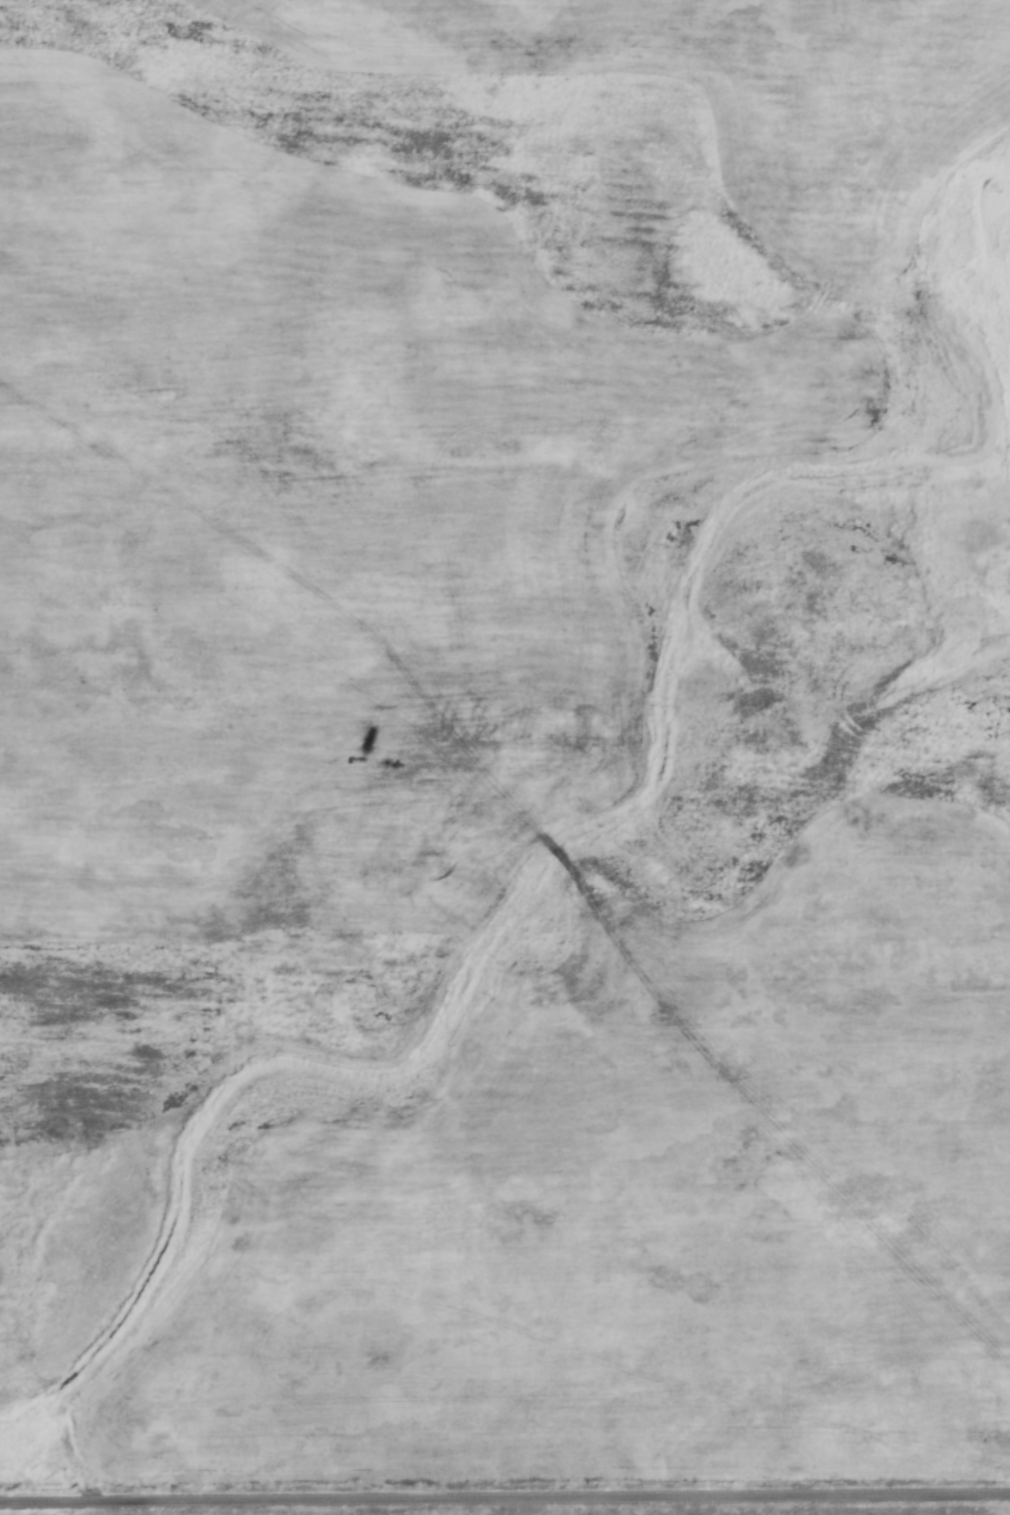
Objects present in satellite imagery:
road: (505, 1499)

